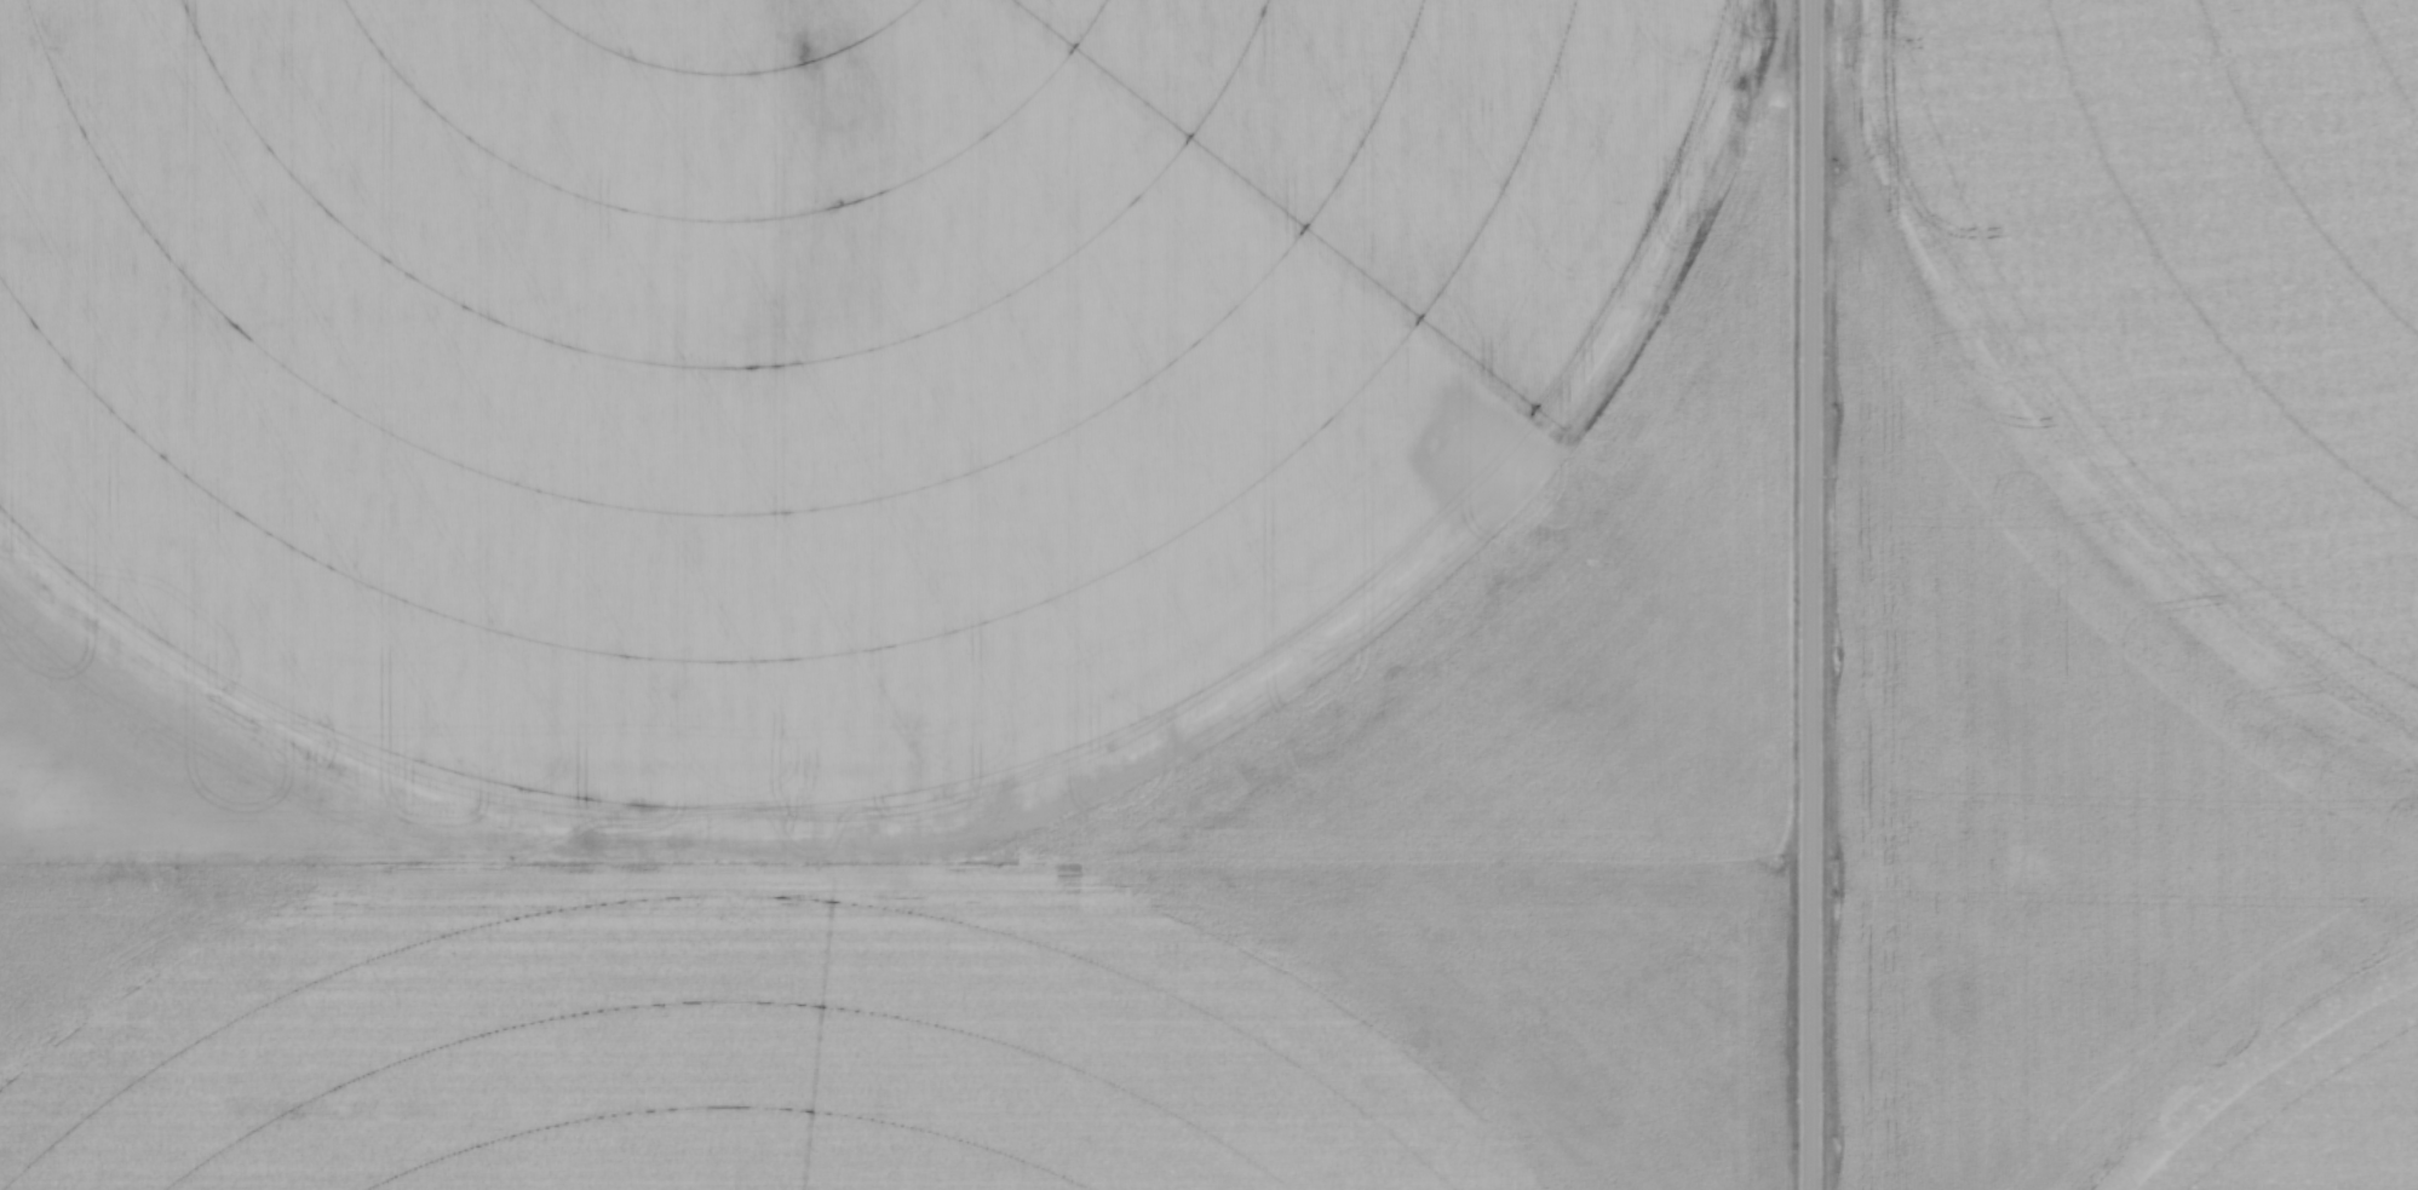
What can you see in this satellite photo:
crop: (897, 594)
road: (1813, 594)

